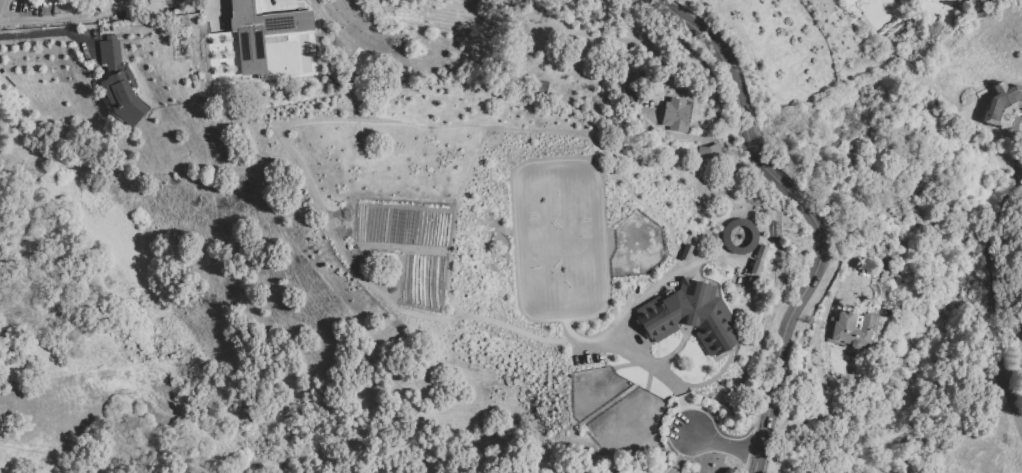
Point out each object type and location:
building: (160, 0)
building: (842, 0)
road: (2, 4)
road: (51, 20)
building: (259, 32)
building: (117, 83)
building: (1003, 105)
building: (674, 114)
building: (708, 151)
road: (294, 156)
road: (809, 213)
building: (757, 259)
building: (690, 314)
building: (849, 330)
road: (669, 378)
road: (723, 445)
road: (700, 452)
road: (682, 454)

